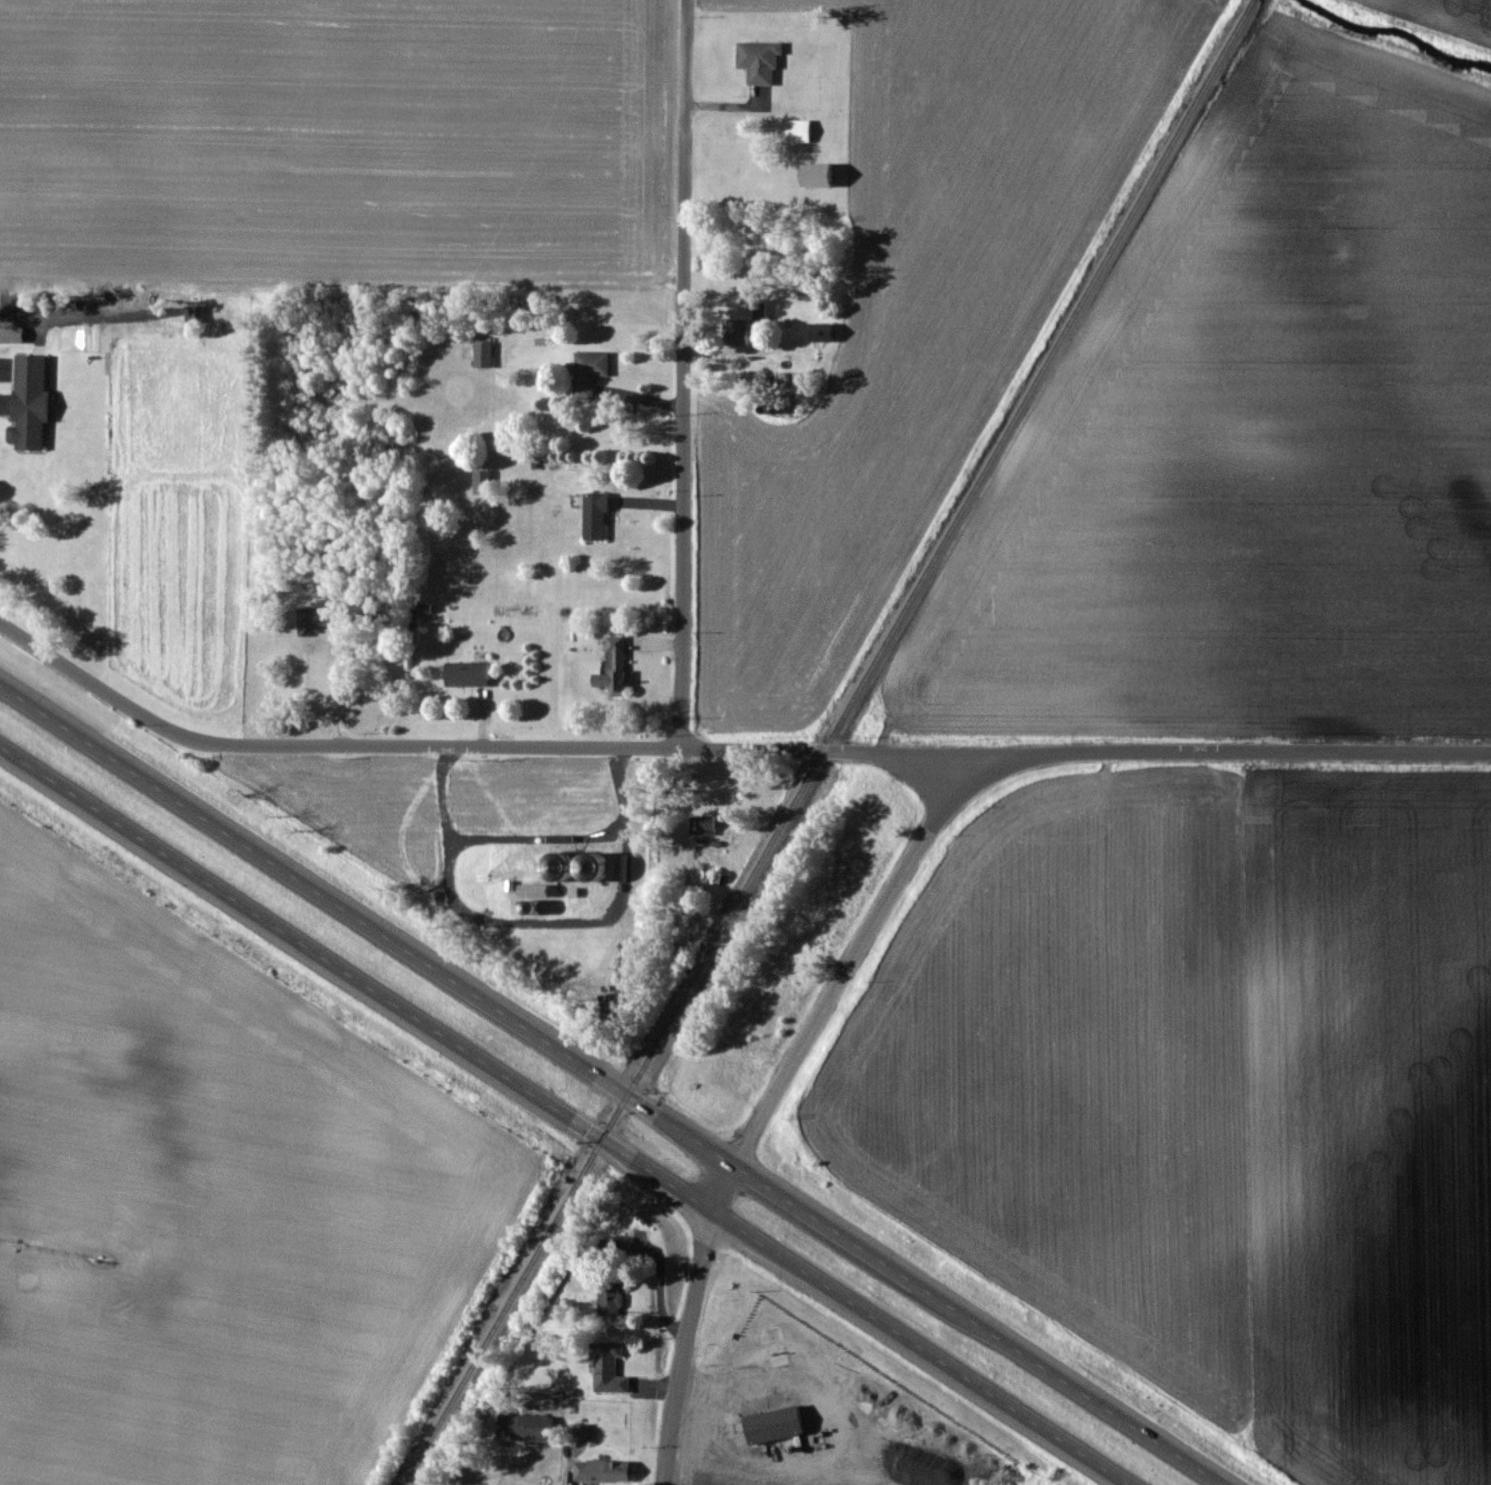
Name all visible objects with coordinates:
building: (758, 60)
building: (797, 131)
building: (815, 175)
building: (191, 313)
building: (736, 330)
building: (820, 332)
building: (482, 353)
building: (588, 371)
road: (683, 374)
building: (27, 400)
building: (481, 481)
building: (594, 515)
building: (315, 618)
building: (611, 665)
building: (465, 673)
road: (336, 687)
railway: (829, 743)
road: (728, 748)
building: (701, 824)
road: (849, 961)
road: (610, 1085)
road: (564, 1115)
building: (608, 1297)
road: (688, 1322)
building: (607, 1367)
building: (772, 1424)
building: (524, 1427)
building: (578, 1431)
road: (770, 1469)
building: (600, 1470)

